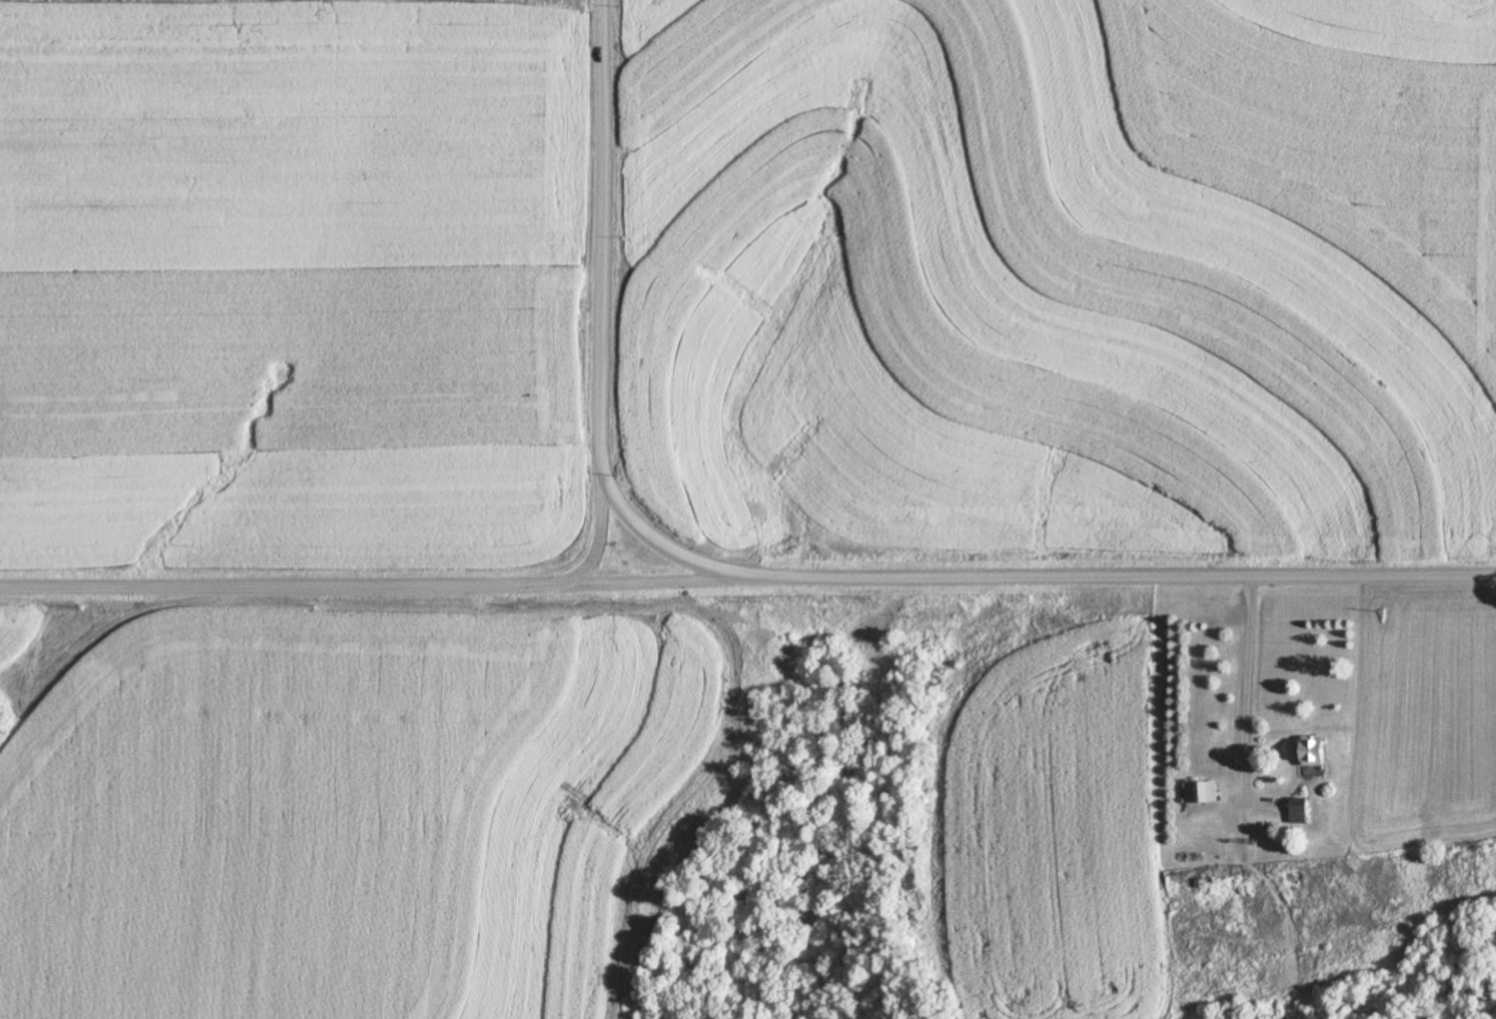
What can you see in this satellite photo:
road: (606, 318)
road: (602, 541)
road: (748, 581)
road: (1245, 699)
building: (1314, 750)
building: (1201, 790)
building: (1299, 809)

